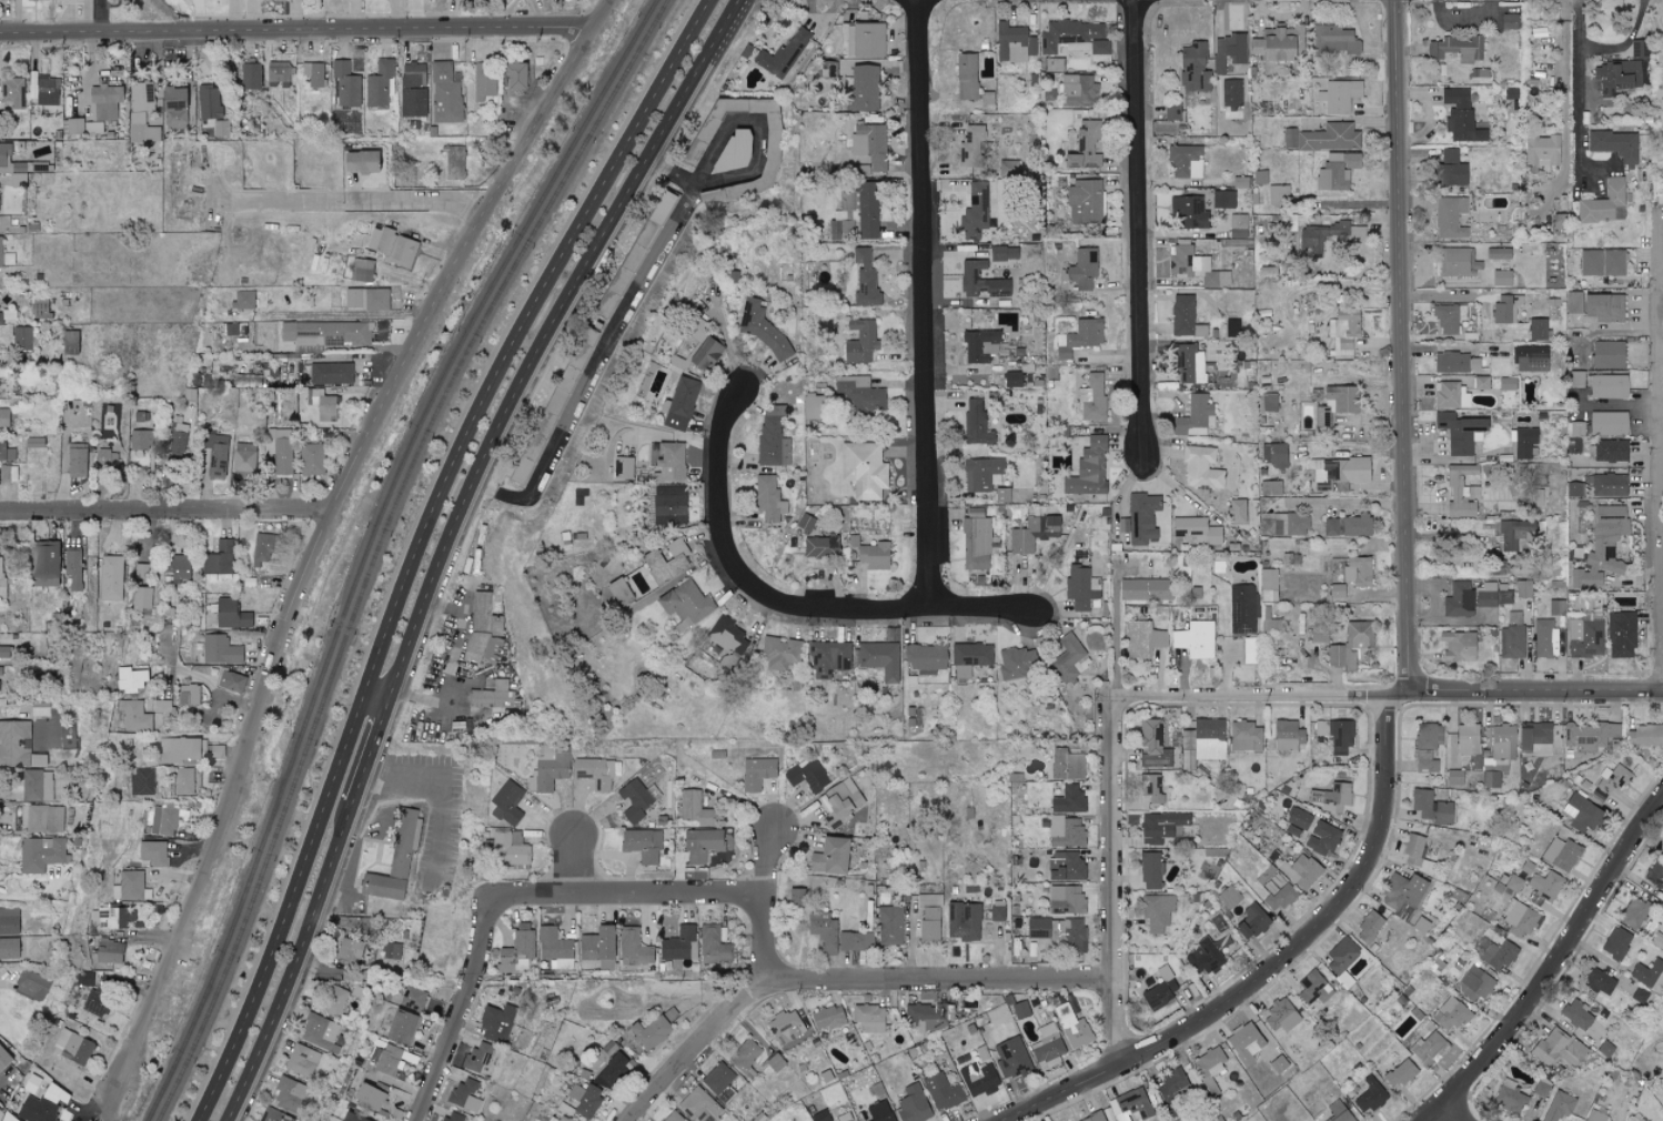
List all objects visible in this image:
building: (0, 0)
building: (22, 0)
building: (69, 0)
road: (595, 13)
building: (1508, 21)
road: (298, 29)
building: (1074, 38)
building: (861, 40)
building: (1333, 40)
building: (1012, 42)
building: (1276, 43)
building: (1455, 49)
building: (1639, 49)
building: (1228, 52)
building: (782, 54)
building: (1193, 68)
building: (826, 69)
building: (1659, 70)
building: (278, 73)
building: (312, 74)
building: (514, 75)
building: (249, 77)
building: (966, 77)
building: (1617, 77)
building: (483, 82)
building: (377, 83)
road: (1576, 83)
building: (344, 84)
building: (1079, 87)
building: (863, 88)
building: (412, 90)
building: (47, 91)
building: (13, 92)
building: (444, 93)
building: (1230, 94)
building: (1339, 95)
building: (141, 97)
building: (104, 102)
building: (209, 102)
building: (173, 108)
building: (1171, 111)
building: (1459, 117)
building: (1660, 124)
building: (72, 127)
building: (93, 128)
building: (221, 128)
building: (141, 130)
building: (772, 137)
building: (1289, 138)
building: (1329, 138)
building: (869, 144)
building: (1614, 144)
building: (1085, 147)
building: (970, 148)
building: (735, 149)
building: (1541, 150)
building: (4, 158)
building: (359, 162)
building: (1185, 162)
building: (452, 163)
building: (1449, 169)
building: (1337, 172)
building: (1259, 178)
building: (1277, 194)
road: (416, 200)
building: (1222, 200)
road: (283, 201)
building: (1085, 201)
building: (1604, 204)
building: (867, 210)
building: (975, 211)
building: (846, 212)
building: (1188, 213)
building: (1449, 218)
road: (1141, 226)
building: (1237, 226)
building: (834, 230)
building: (1327, 236)
building: (392, 246)
building: (1004, 253)
building: (1498, 253)
building: (633, 254)
building: (1459, 262)
building: (1590, 262)
building: (1612, 263)
building: (1193, 267)
building: (1082, 269)
building: (362, 270)
building: (865, 279)
building: (1501, 279)
building: (980, 282)
building: (362, 299)
building: (242, 300)
building: (1573, 302)
road: (927, 305)
building: (1505, 307)
building: (1603, 307)
road: (344, 314)
building: (0, 317)
building: (1448, 317)
building: (1185, 319)
building: (762, 327)
building: (234, 329)
building: (1231, 329)
building: (1536, 330)
building: (324, 333)
building: (1343, 333)
building: (21, 337)
building: (1079, 337)
road: (543, 339)
building: (859, 342)
building: (70, 343)
building: (979, 346)
road: (1407, 346)
building: (705, 354)
building: (1607, 354)
railway: (451, 358)
building: (1530, 358)
railway: (461, 361)
building: (1453, 363)
building: (1188, 365)
building: (331, 373)
building: (1011, 380)
building: (1481, 383)
building: (1506, 384)
building: (1607, 386)
building: (859, 394)
building: (1450, 395)
building: (1092, 398)
building: (1267, 403)
building: (322, 404)
building: (678, 404)
building: (1334, 404)
building: (552, 406)
building: (812, 406)
building: (1193, 415)
building: (3, 418)
building: (976, 423)
building: (1607, 423)
building: (1458, 432)
building: (773, 437)
building: (178, 438)
building: (141, 440)
building: (33, 442)
building: (1523, 443)
road: (1661, 447)
building: (280, 450)
building: (1610, 451)
building: (6, 453)
building: (1276, 455)
building: (215, 456)
building: (243, 457)
building: (75, 459)
building: (311, 459)
building: (107, 461)
building: (669, 463)
building: (1201, 467)
building: (623, 468)
building: (864, 469)
building: (1088, 469)
building: (1342, 471)
building: (8, 474)
building: (981, 474)
building: (1607, 485)
building: (1269, 488)
building: (1462, 492)
building: (767, 499)
building: (668, 505)
building: (1237, 511)
road: (169, 514)
building: (1141, 517)
building: (805, 523)
building: (1284, 525)
building: (1347, 526)
building: (1195, 531)
building: (1032, 533)
building: (1509, 536)
road: (419, 544)
building: (976, 544)
road: (325, 545)
building: (261, 546)
building: (820, 547)
building: (1602, 547)
building: (874, 556)
building: (223, 557)
building: (666, 562)
building: (44, 563)
building: (73, 566)
building: (178, 566)
building: (0, 572)
building: (1357, 572)
building: (110, 577)
building: (1268, 584)
building: (1080, 587)
building: (1145, 589)
building: (618, 590)
building: (1336, 590)
building: (1492, 595)
building: (1458, 600)
building: (142, 602)
building: (685, 603)
road: (793, 607)
building: (1556, 607)
building: (1242, 608)
building: (230, 614)
road: (1115, 622)
building: (484, 630)
building: (1318, 634)
building: (1620, 635)
building: (1584, 636)
building: (1511, 637)
building: (727, 639)
building: (1142, 639)
building: (1195, 639)
building: (1544, 639)
building: (1350, 645)
building: (1458, 646)
building: (219, 649)
building: (3, 650)
building: (1249, 650)
building: (779, 652)
building: (969, 657)
building: (828, 658)
building: (879, 658)
building: (925, 658)
building: (1066, 658)
building: (1016, 662)
building: (130, 677)
building: (230, 680)
road: (206, 684)
road: (1525, 693)
building: (189, 694)
building: (492, 695)
road: (1253, 695)
road: (376, 696)
building: (40, 708)
building: (0, 711)
building: (134, 715)
building: (1336, 734)
building: (1286, 735)
building: (1589, 735)
building: (1243, 736)
building: (1643, 736)
building: (1205, 738)
building: (1467, 738)
building: (1534, 738)
building: (1503, 741)
building: (17, 745)
building: (1152, 745)
road: (371, 746)
building: (1425, 748)
building: (179, 749)
building: (214, 750)
building: (1066, 764)
building: (550, 767)
building: (595, 771)
building: (756, 772)
building: (806, 775)
building: (1454, 777)
building: (1490, 779)
building: (183, 780)
building: (142, 781)
building: (1609, 782)
building: (37, 785)
building: (1151, 787)
building: (1331, 796)
building: (636, 798)
building: (1067, 799)
road: (442, 800)
building: (839, 801)
building: (507, 802)
building: (694, 807)
building: (1431, 807)
road: (391, 812)
building: (1582, 814)
building: (42, 818)
building: (1299, 818)
building: (162, 821)
building: (1160, 826)
building: (1065, 830)
building: (1321, 838)
building: (402, 842)
building: (702, 844)
building: (642, 845)
building: (506, 850)
building: (1661, 851)
building: (41, 852)
building: (153, 852)
building: (1415, 854)
building: (1561, 854)
building: (829, 856)
road: (576, 857)
building: (1065, 865)
building: (1149, 870)
building: (1300, 870)
building: (1654, 876)
building: (1525, 878)
road: (1118, 882)
building: (1513, 883)
building: (129, 886)
building: (380, 886)
road: (628, 888)
building: (1543, 888)
building: (1274, 889)
building: (1402, 890)
building: (1228, 896)
road: (767, 898)
road: (37, 899)
road: (344, 899)
building: (1065, 899)
building: (997, 910)
building: (1156, 911)
building: (1633, 912)
building: (111, 917)
building: (929, 918)
building: (1518, 919)
building: (9, 920)
building: (962, 920)
building: (1251, 921)
building: (1420, 925)
building: (889, 926)
building: (1368, 927)
building: (823, 930)
building: (1058, 932)
railway: (229, 935)
railway: (238, 936)
building: (855, 940)
road: (909, 940)
building: (1615, 942)
building: (679, 943)
building: (713, 945)
building: (598, 946)
building: (633, 946)
building: (9, 948)
building: (555, 948)
building: (350, 949)
building: (517, 949)
building: (391, 950)
building: (108, 951)
building: (1494, 953)
building: (1203, 957)
road: (295, 959)
building: (1341, 959)
building: (0, 962)
building: (588, 963)
road: (1277, 966)
road: (1556, 968)
building: (1646, 972)
road: (843, 977)
building: (84, 979)
building: (1599, 981)
building: (1473, 983)
building: (31, 986)
building: (1313, 987)
building: (1159, 991)
building: (412, 998)
building: (334, 1000)
building: (94, 1003)
road: (465, 1007)
building: (1020, 1009)
building: (1575, 1013)
building: (1450, 1014)
building: (1281, 1016)
building: (827, 1017)
building: (868, 1018)
building: (496, 1021)
building: (401, 1026)
building: (785, 1027)
building: (1072, 1027)
building: (320, 1032)
building: (649, 1032)
building: (1244, 1042)
building: (1424, 1043)
building: (1549, 1044)
building: (1048, 1046)
building: (73, 1047)
building: (1572, 1052)
building: (476, 1057)
building: (744, 1057)
building: (1010, 1057)
building: (3, 1058)
building: (390, 1059)
building: (302, 1060)
building: (774, 1062)
building: (1209, 1067)
building: (612, 1072)
building: (1399, 1073)
building: (978, 1078)
building: (719, 1081)
building: (1171, 1083)
building: (941, 1091)
building: (290, 1093)
building: (464, 1094)
building: (369, 1095)
building: (1369, 1095)
building: (1509, 1097)
building: (584, 1099)
building: (913, 1104)
building: (1129, 1104)
building: (699, 1105)
building: (1558, 1105)
building: (37, 1109)
road: (119, 1111)
building: (879, 1111)
building: (1338, 1111)
building: (273, 1115)
building: (1595, 1115)
building: (350, 1117)
building: (451, 1117)
building: (673, 1117)
building: (1093, 1117)
road: (1443, 1117)
building: (8, 1118)
building: (557, 1118)
building: (849, 1120)

